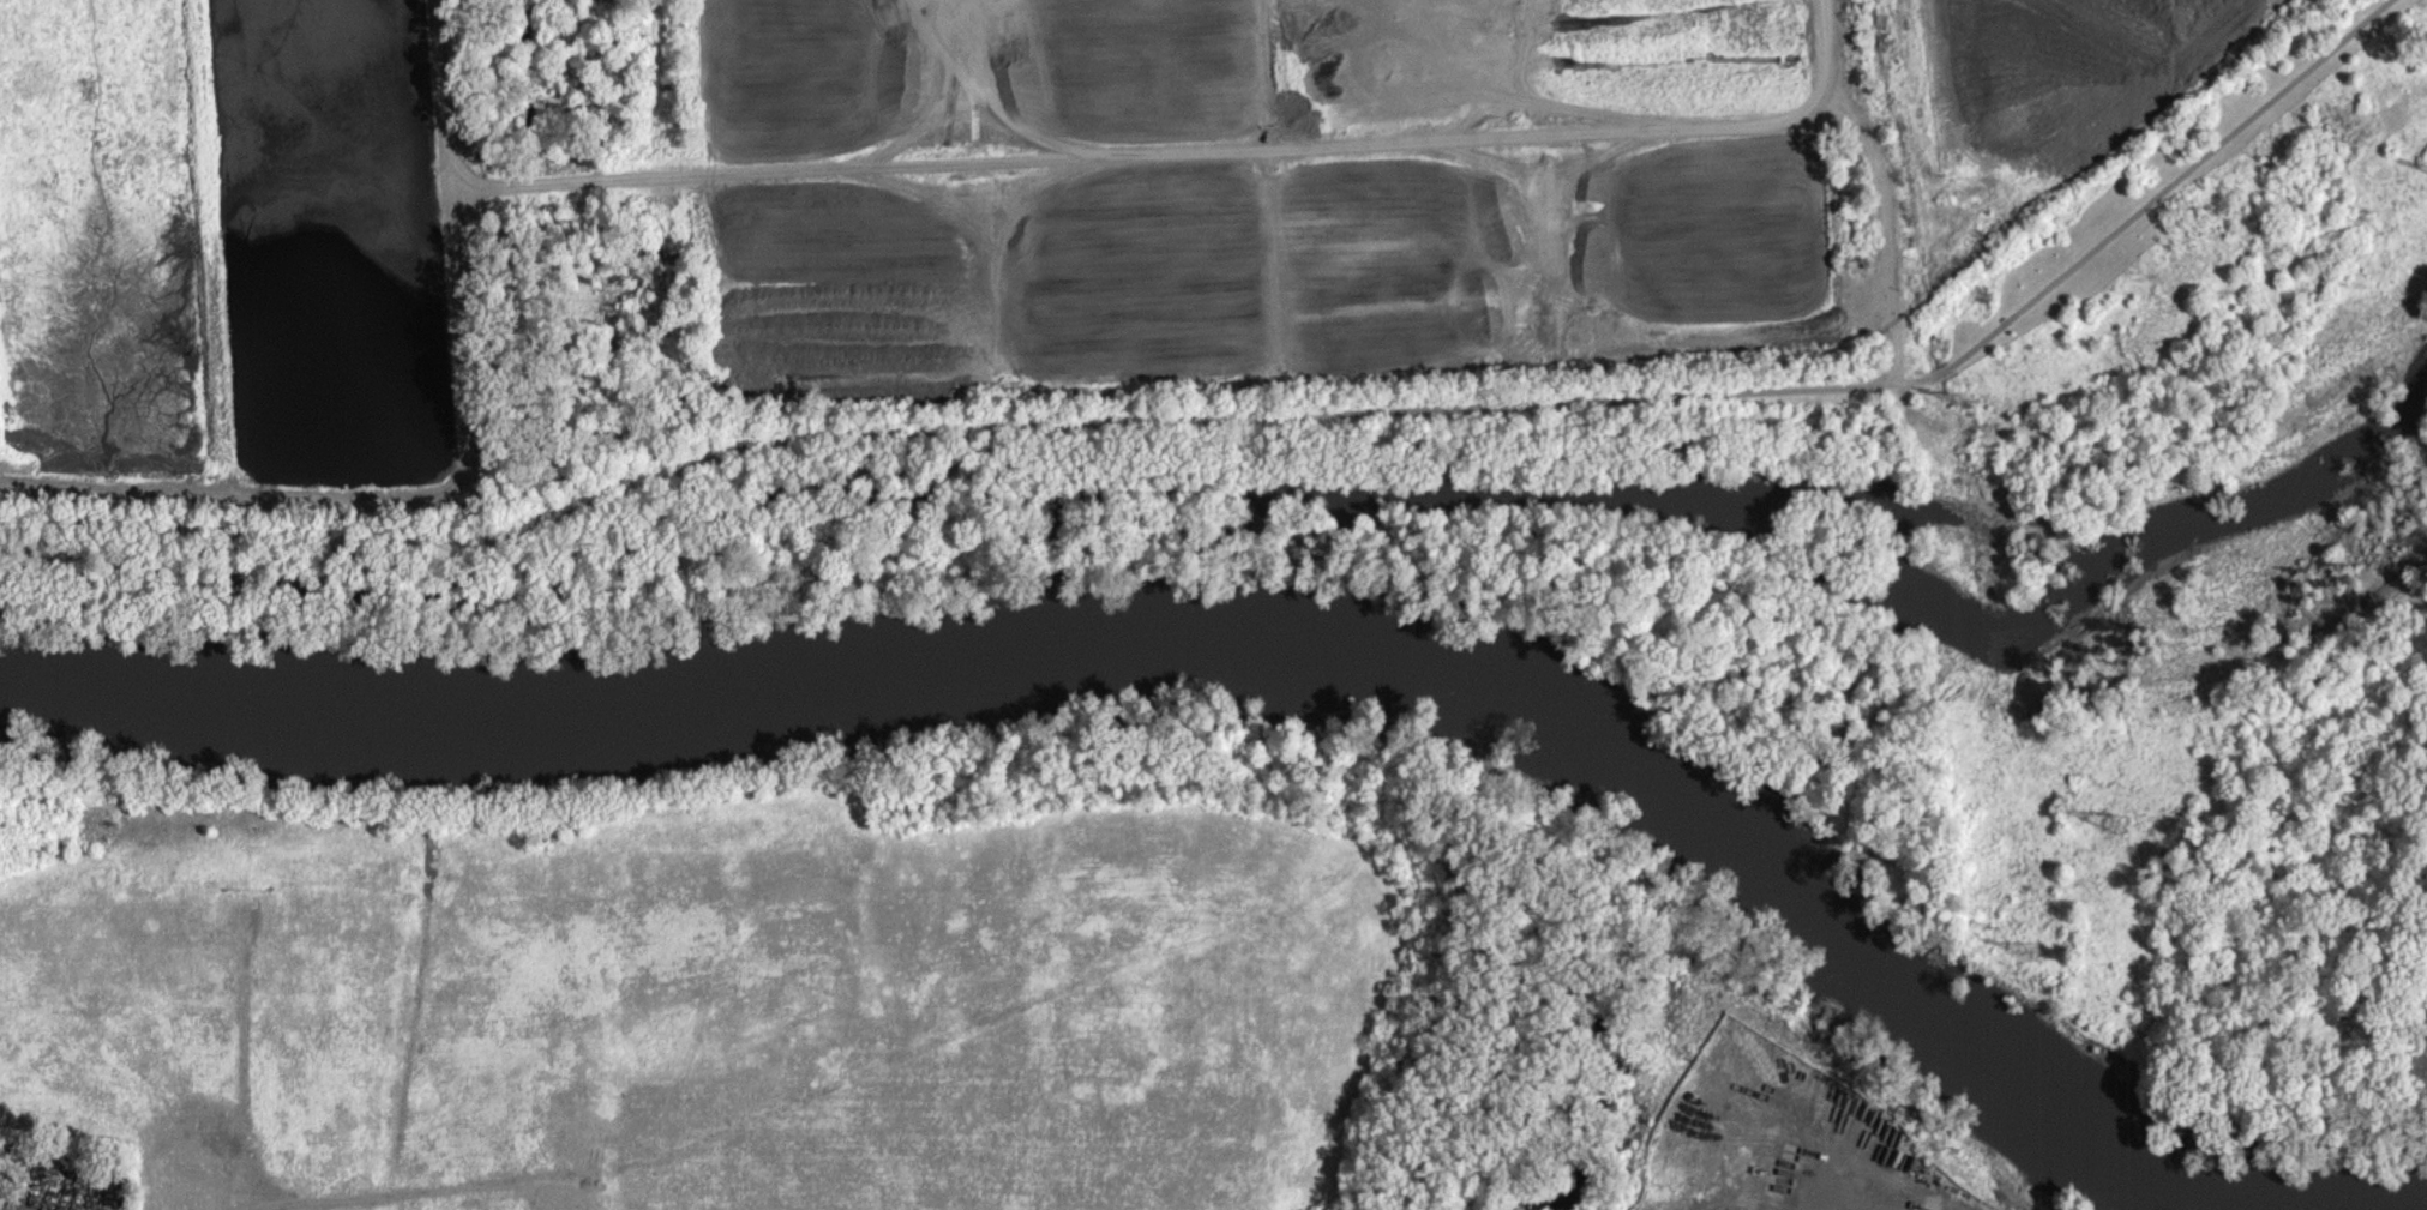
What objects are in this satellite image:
road: (1184, 152)
power tower: (1970, 402)
road: (1254, 415)
road: (461, 469)
river: (1193, 655)
power tower: (2120, 825)
power tower: (2032, 953)
river: (2405, 1206)

